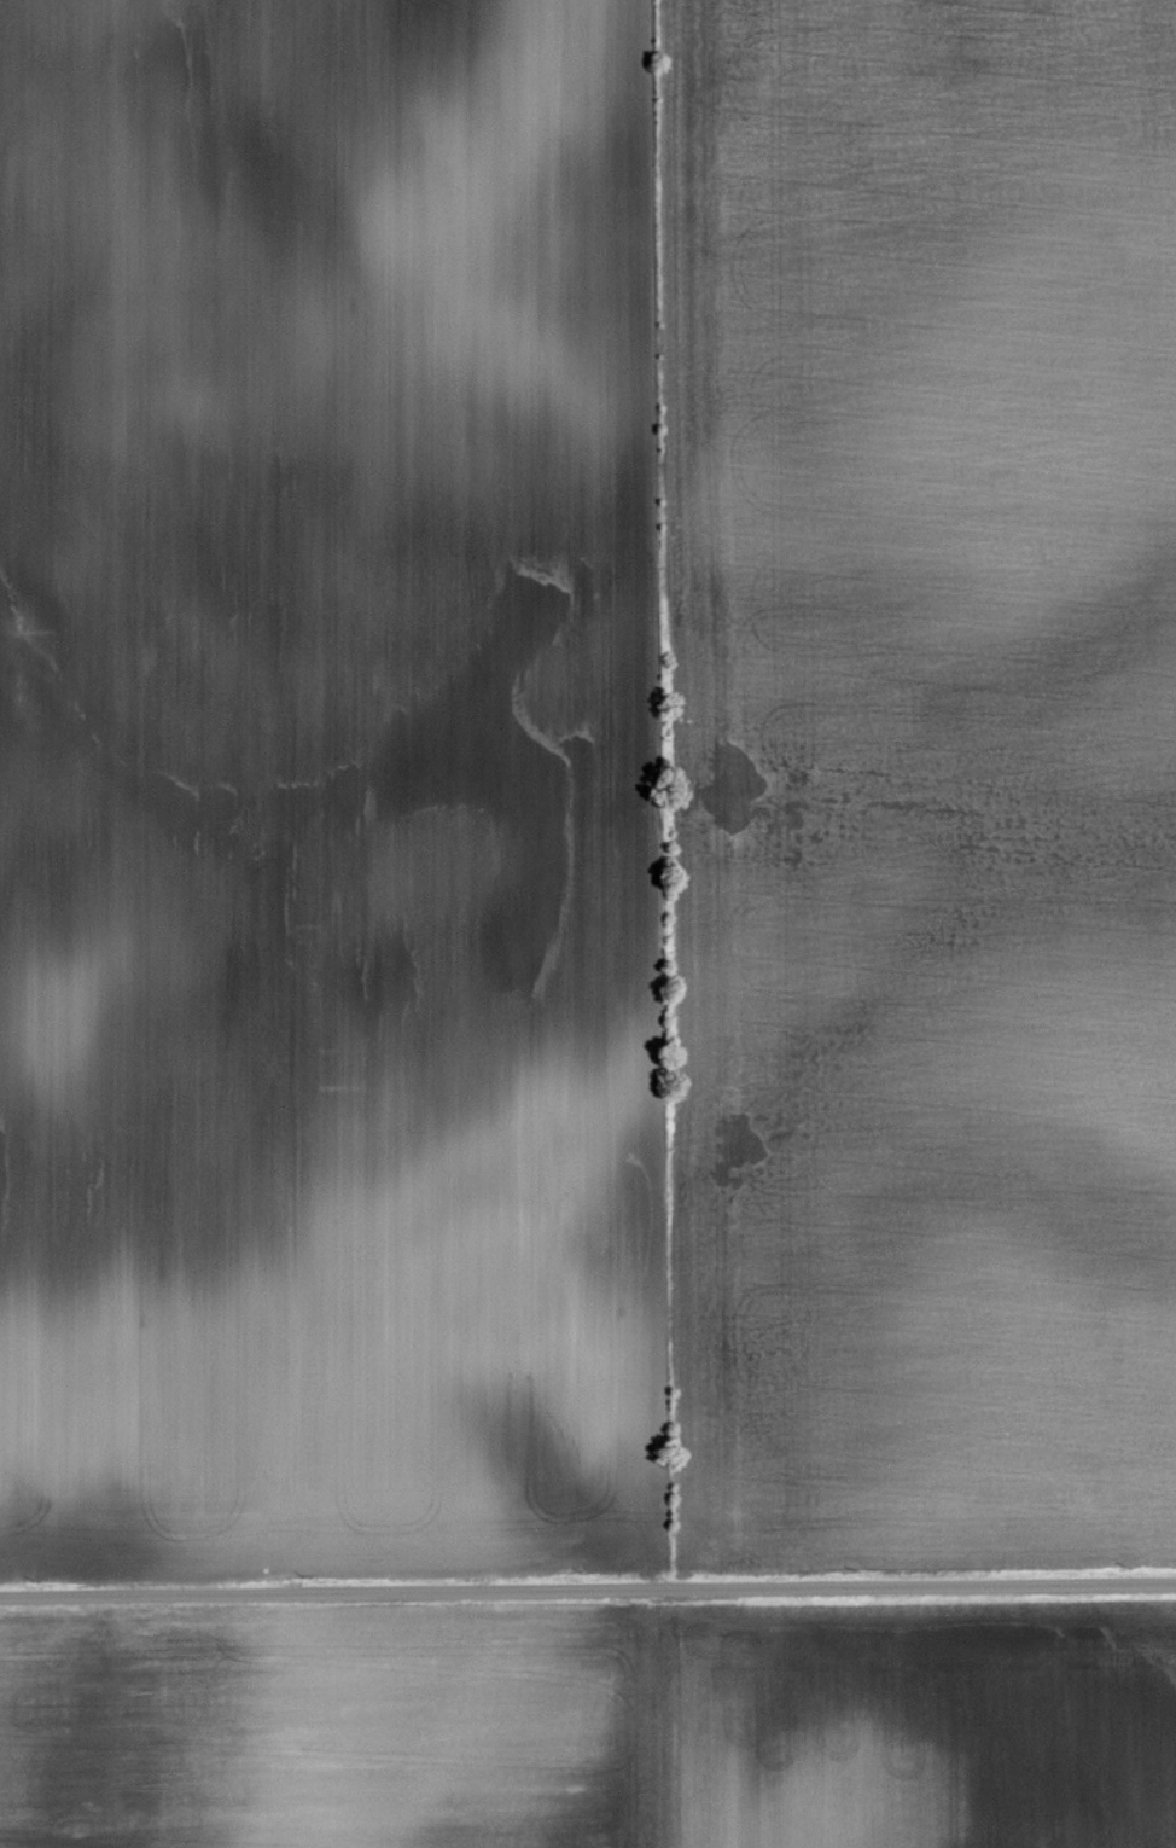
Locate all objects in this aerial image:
road: (588, 1596)

